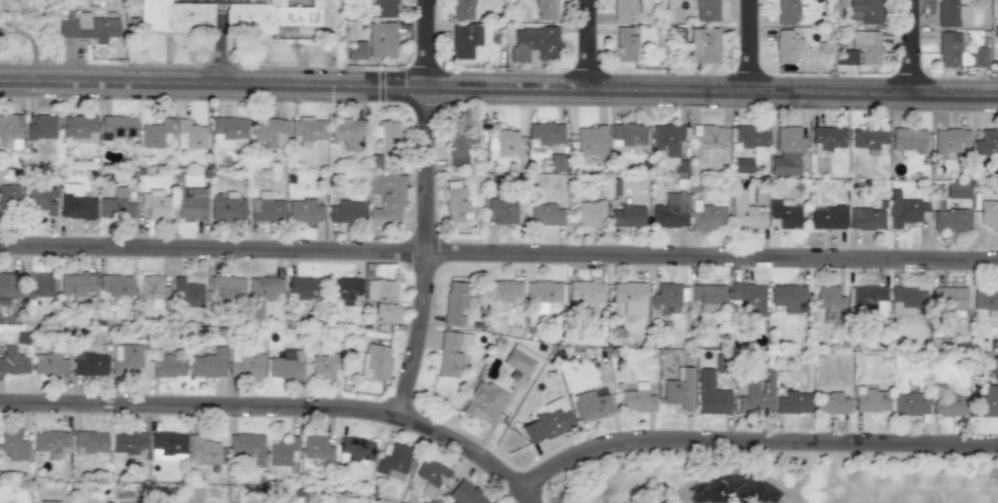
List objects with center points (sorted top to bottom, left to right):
building: (838, 3)
building: (385, 8)
building: (462, 9)
building: (546, 9)
building: (707, 10)
building: (626, 11)
building: (787, 12)
building: (865, 12)
building: (947, 13)
building: (962, 13)
building: (273, 15)
building: (174, 16)
building: (88, 28)
building: (381, 39)
building: (465, 41)
building: (533, 42)
road: (218, 43)
building: (625, 45)
building: (704, 45)
road: (591, 46)
building: (788, 46)
building: (866, 46)
road: (754, 47)
road: (915, 48)
building: (948, 50)
building: (356, 51)
building: (979, 57)
road: (499, 90)
building: (9, 127)
building: (41, 127)
building: (79, 127)
building: (118, 127)
building: (306, 130)
building: (267, 132)
building: (345, 132)
building: (545, 132)
building: (154, 133)
building: (228, 133)
building: (626, 134)
building: (189, 135)
building: (750, 135)
building: (385, 136)
building: (828, 136)
building: (707, 137)
building: (666, 138)
building: (868, 138)
building: (590, 140)
building: (499, 141)
building: (909, 141)
building: (460, 142)
building: (949, 142)
building: (986, 142)
building: (787, 151)
building: (555, 162)
building: (741, 165)
building: (680, 166)
building: (956, 190)
building: (385, 195)
building: (9, 199)
building: (41, 199)
building: (75, 202)
building: (455, 203)
building: (154, 204)
building: (116, 205)
building: (191, 205)
building: (226, 206)
building: (265, 208)
building: (500, 209)
building: (903, 209)
building: (304, 210)
road: (432, 211)
building: (669, 211)
building: (345, 212)
building: (587, 212)
building: (743, 213)
building: (988, 213)
building: (546, 214)
building: (783, 214)
building: (626, 215)
building: (706, 216)
building: (826, 218)
building: (865, 218)
building: (950, 220)
road: (498, 253)
building: (75, 284)
building: (8, 285)
building: (38, 285)
building: (115, 285)
building: (226, 286)
building: (264, 286)
building: (302, 287)
building: (151, 288)
building: (344, 289)
building: (502, 290)
building: (187, 292)
building: (584, 295)
building: (629, 296)
building: (665, 296)
building: (708, 297)
building: (747, 297)
building: (948, 297)
building: (788, 298)
building: (906, 298)
building: (986, 300)
building: (382, 301)
building: (865, 301)
building: (454, 303)
building: (829, 303)
building: (254, 309)
building: (450, 352)
building: (13, 360)
building: (521, 361)
building: (375, 362)
building: (207, 363)
building: (49, 364)
building: (89, 364)
building: (166, 364)
building: (245, 364)
building: (286, 364)
building: (993, 365)
building: (324, 366)
building: (679, 389)
building: (711, 394)
building: (756, 396)
building: (636, 399)
building: (870, 399)
building: (481, 400)
building: (793, 402)
building: (831, 403)
building: (909, 404)
building: (949, 404)
building: (590, 405)
road: (280, 409)
building: (547, 421)
building: (50, 442)
building: (89, 442)
building: (127, 442)
building: (13, 444)
road: (754, 444)
building: (167, 447)
building: (247, 447)
building: (316, 447)
building: (203, 450)
building: (356, 450)
building: (282, 452)
building: (393, 460)
road: (736, 469)
road: (799, 474)
building: (431, 475)
park: (779, 478)
building: (464, 493)
building: (48, 501)

